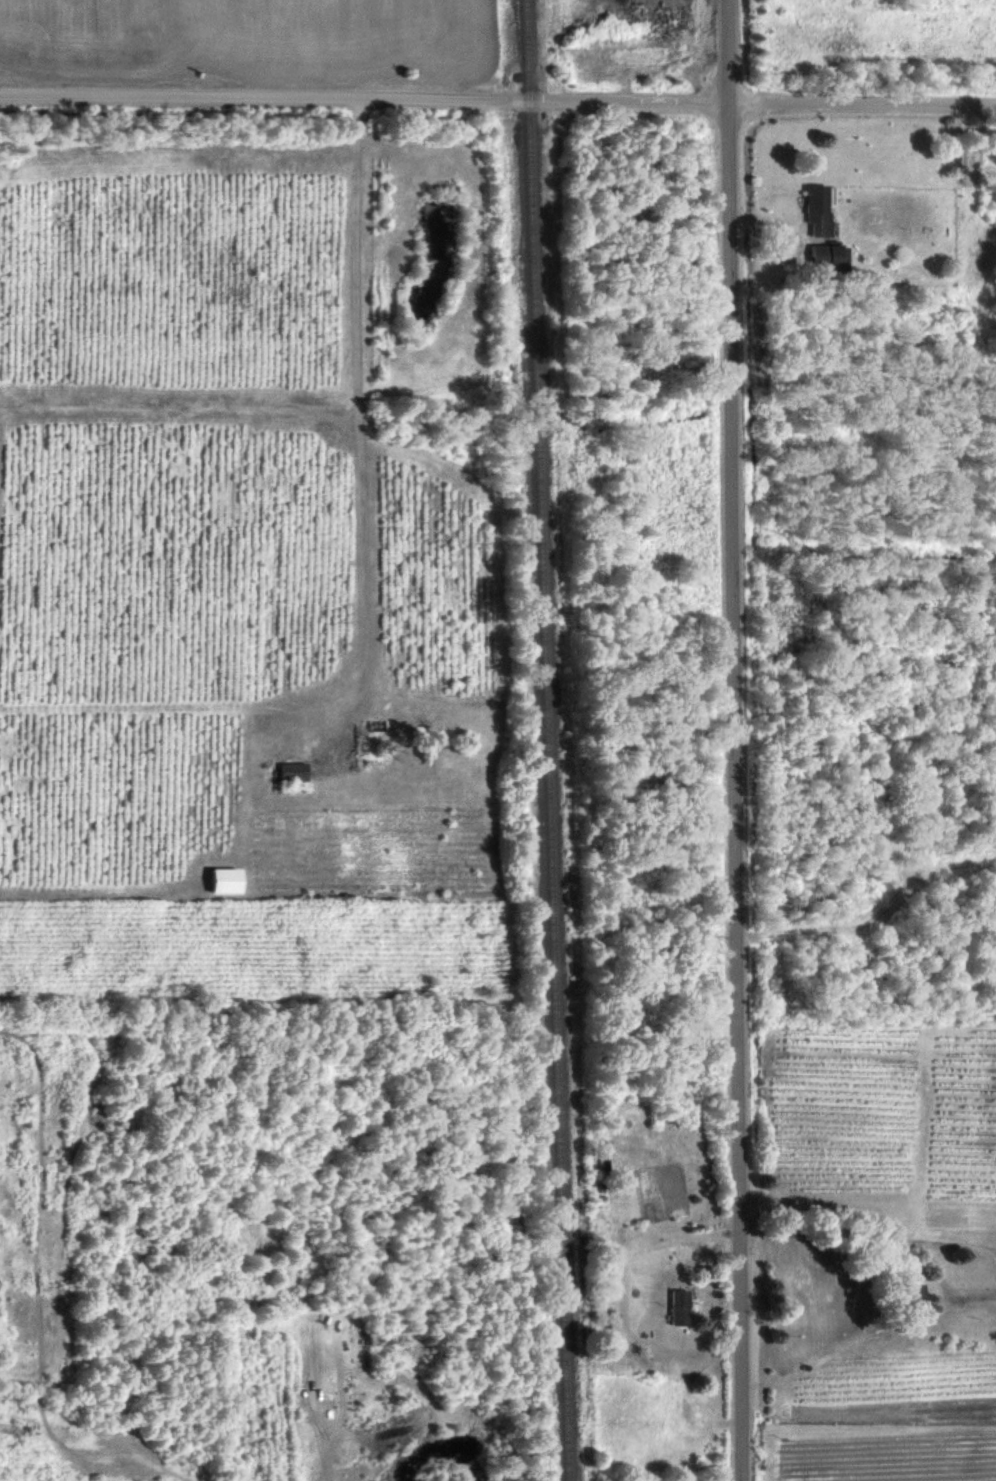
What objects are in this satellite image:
road: (498, 99)
building: (818, 208)
building: (829, 253)
road: (362, 432)
road: (205, 512)
railway: (545, 740)
road: (737, 740)
building: (293, 771)
building: (226, 880)
road: (827, 1230)
road: (958, 1240)
road: (947, 1285)
building: (913, 1293)
building: (677, 1306)

